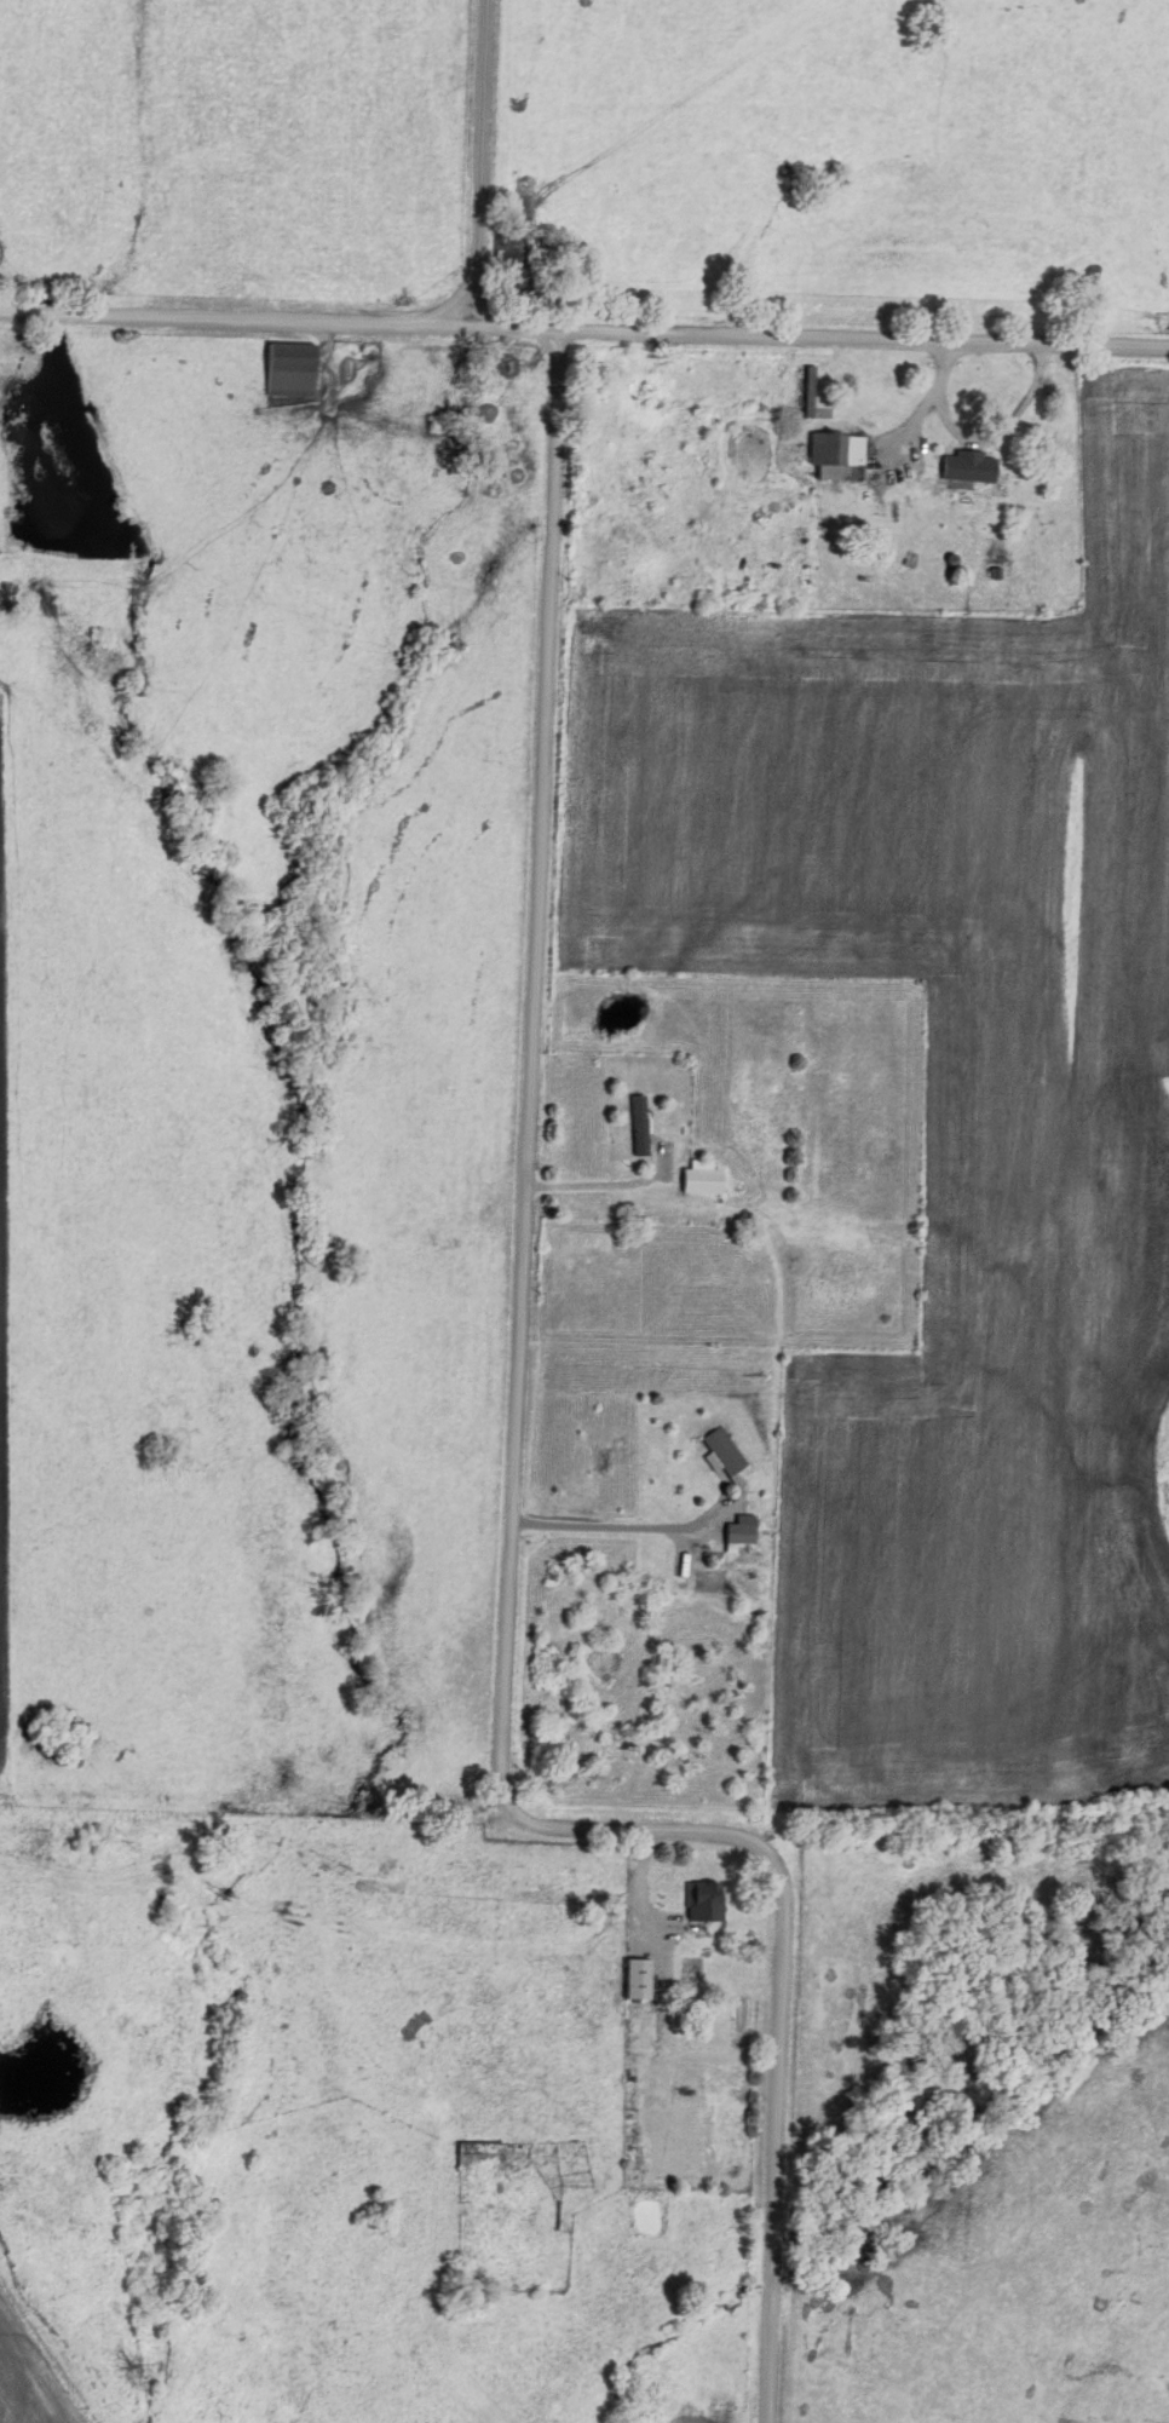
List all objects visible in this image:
road: (459, 161)
road: (225, 316)
road: (500, 328)
road: (859, 343)
building: (288, 370)
building: (836, 456)
building: (639, 1126)
building: (701, 1179)
road: (600, 1185)
building: (722, 1451)
road: (519, 1492)
road: (623, 1526)
building: (737, 1536)
building: (699, 1903)
building: (637, 1958)
building: (478, 2148)

